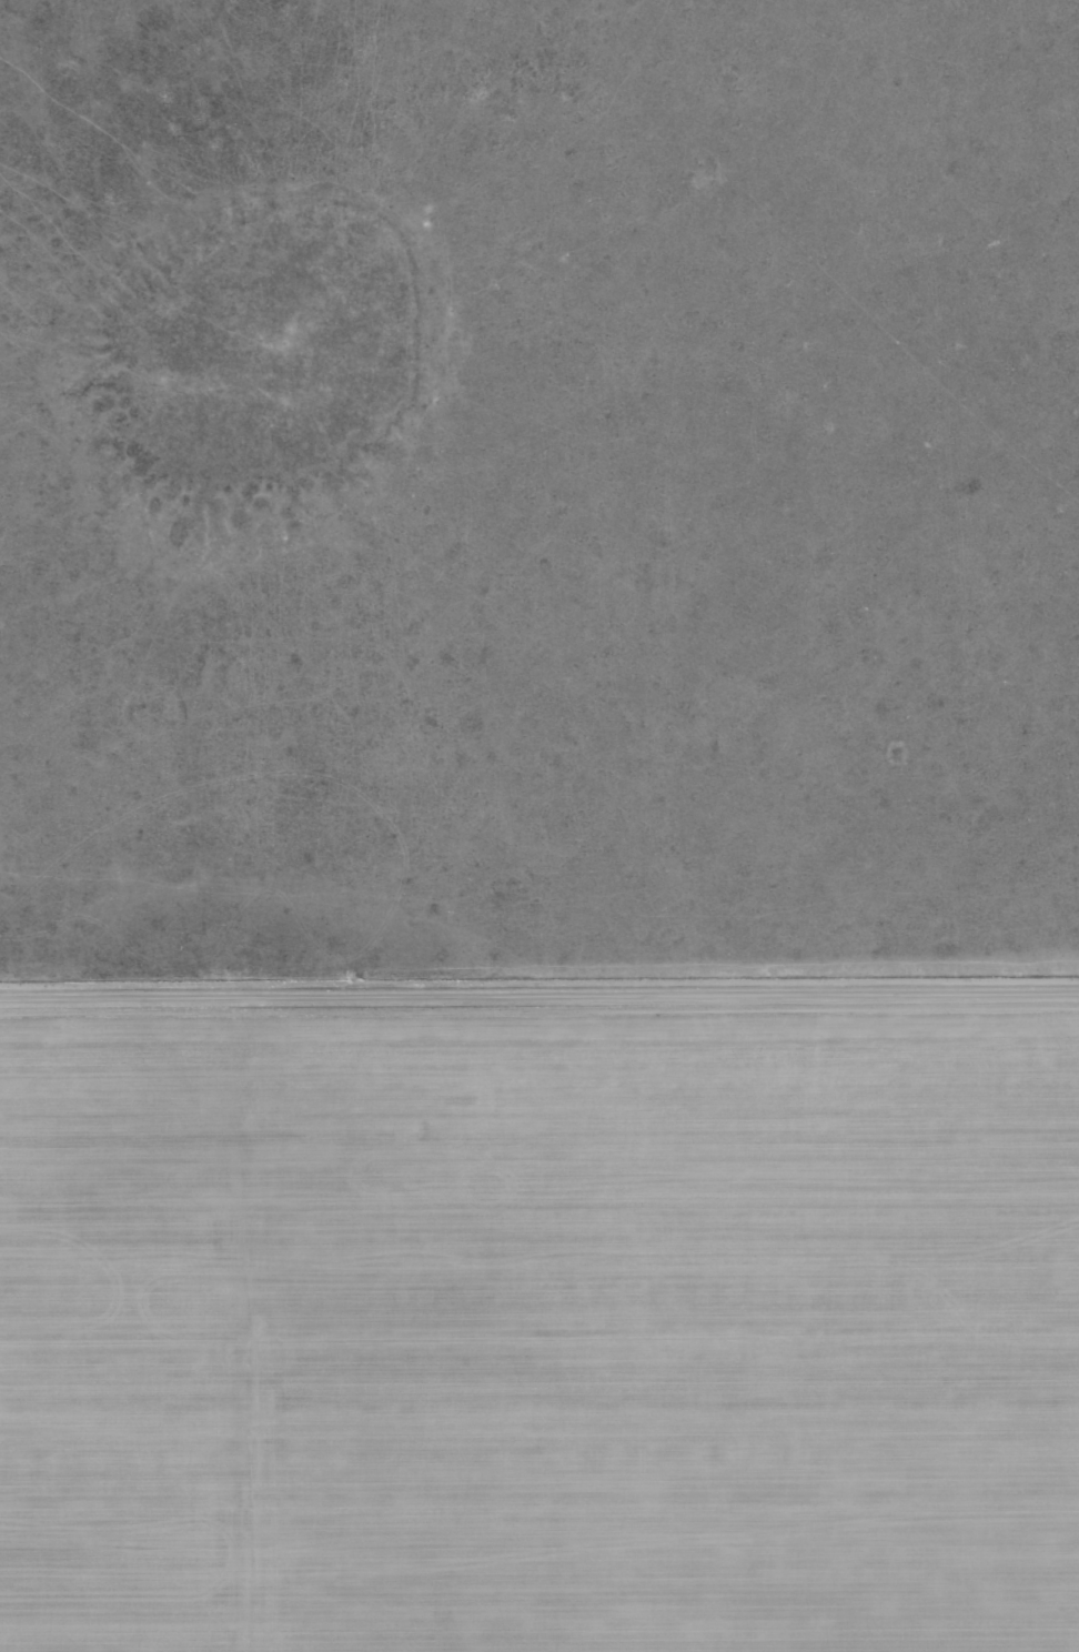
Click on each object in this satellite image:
road: (538, 989)

